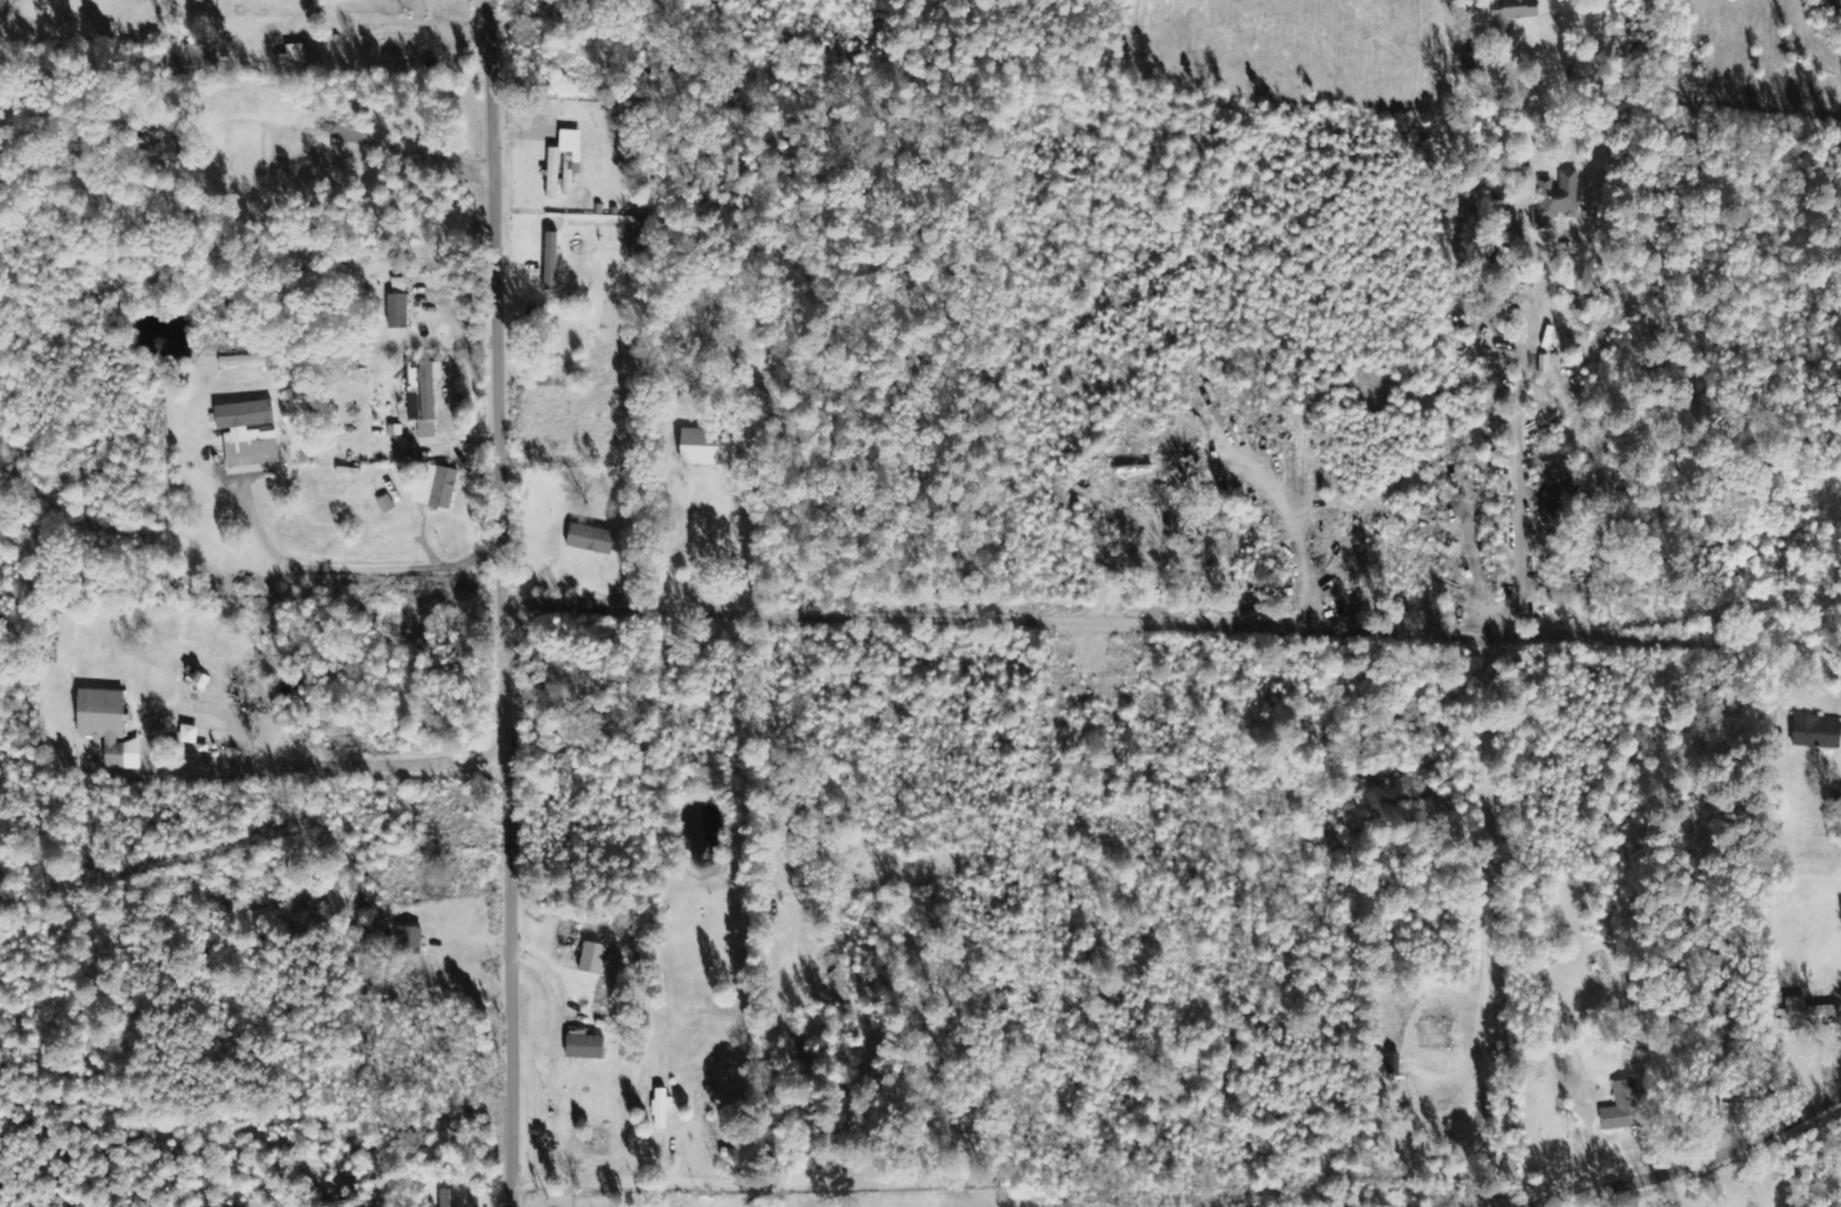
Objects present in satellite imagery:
building: (1511, 13)
building: (191, 55)
building: (1556, 199)
building: (550, 262)
building: (398, 304)
building: (227, 307)
building: (247, 361)
building: (423, 401)
building: (248, 436)
building: (708, 448)
building: (444, 488)
building: (1554, 508)
building: (590, 539)
road: (505, 602)
road: (1172, 624)
building: (107, 726)
building: (1816, 733)
building: (189, 734)
building: (410, 942)
building: (593, 959)
building: (1808, 1013)
building: (585, 1048)
building: (661, 1108)
building: (1622, 1108)
road: (1697, 1163)
road: (665, 1177)
building: (445, 1199)

